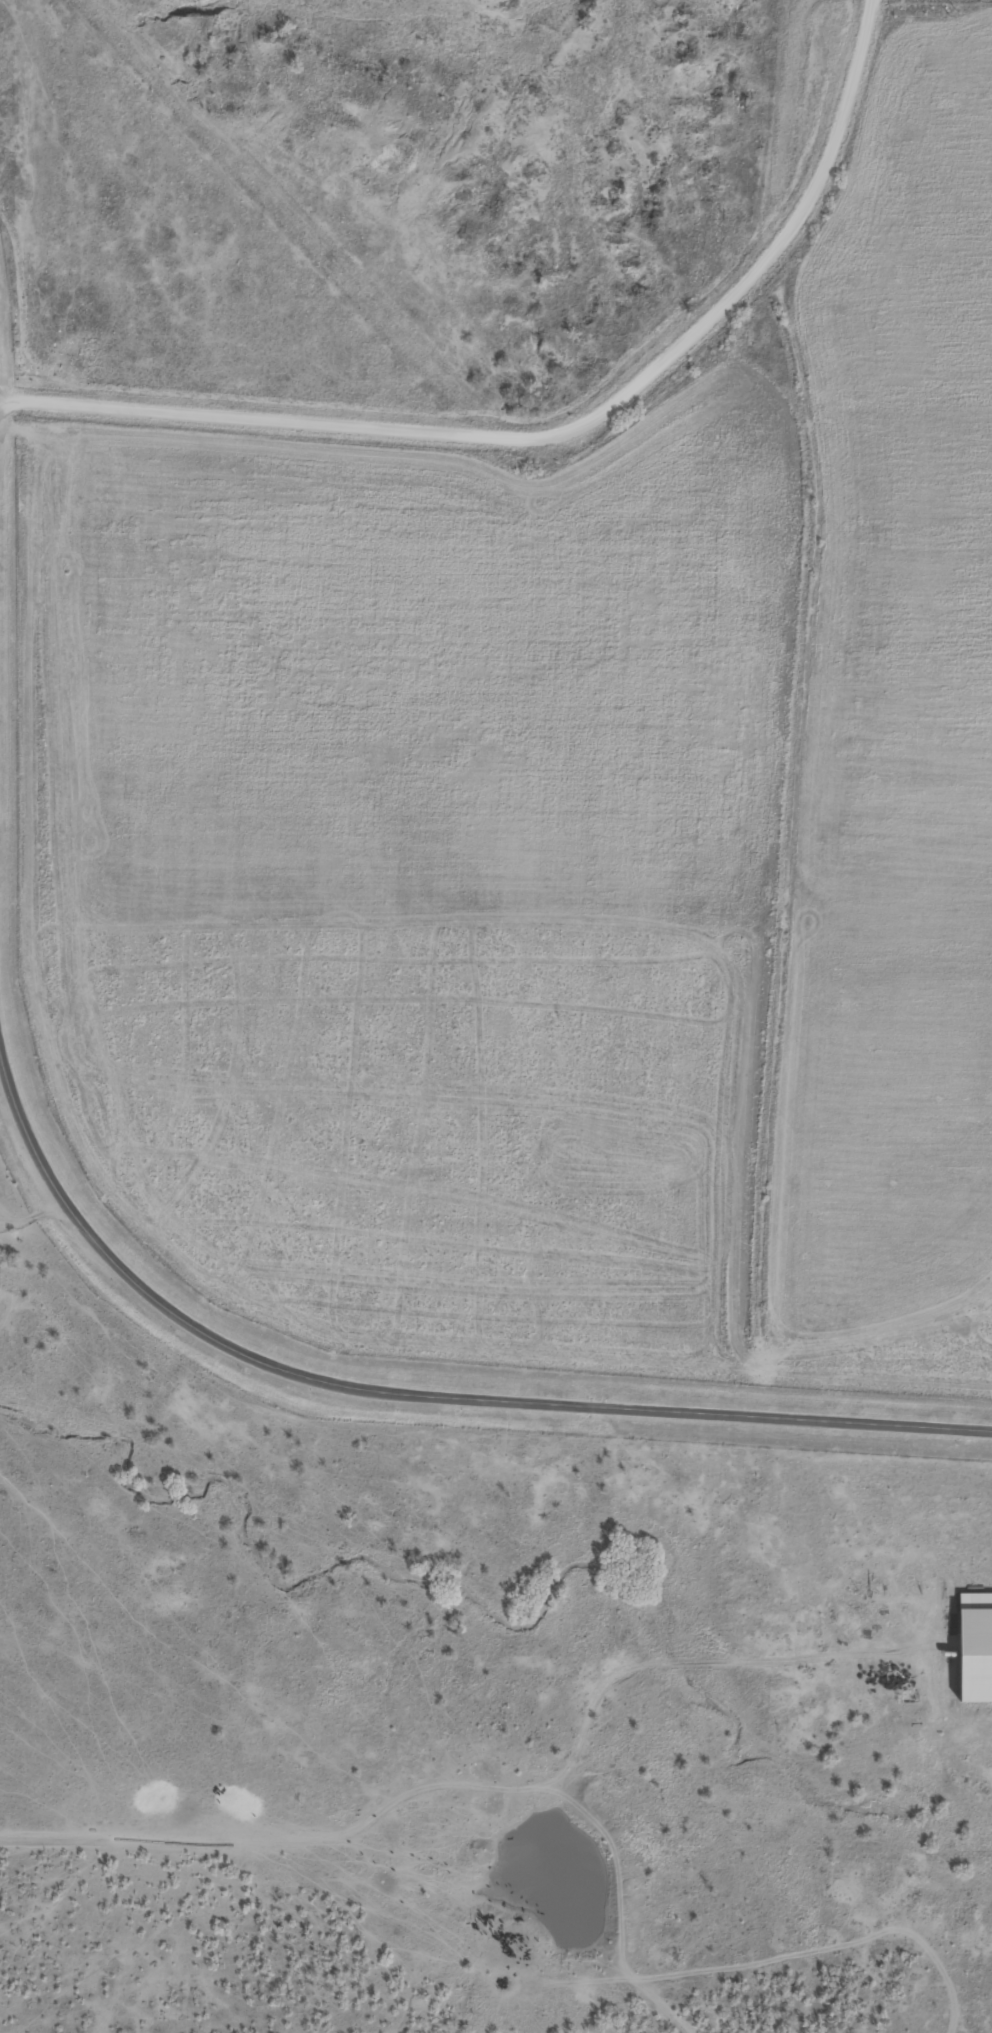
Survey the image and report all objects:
power tower: (952, 11)
road: (559, 441)
road: (422, 1391)
building: (979, 1603)
road: (505, 2014)

